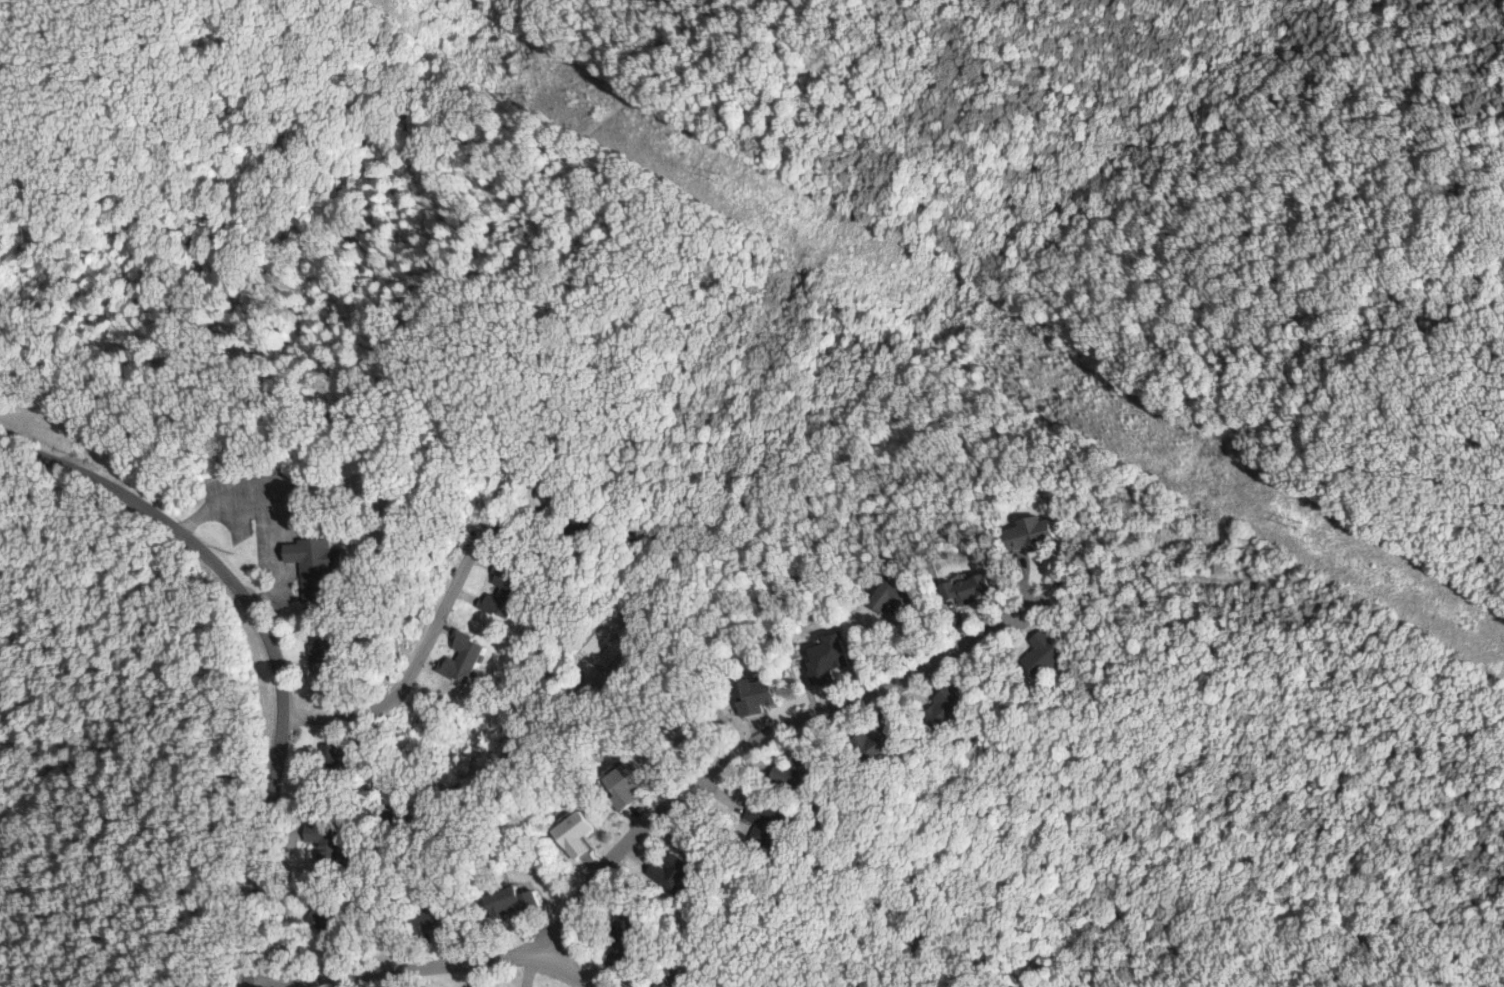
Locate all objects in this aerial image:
power tower: (719, 175)
road: (276, 523)
power tower: (1302, 524)
building: (1032, 534)
building: (318, 565)
building: (976, 589)
building: (507, 592)
building: (895, 595)
road: (271, 643)
road: (412, 647)
building: (326, 650)
building: (469, 656)
building: (1044, 656)
building: (833, 658)
building: (763, 696)
building: (951, 707)
road: (765, 725)
building: (885, 742)
building: (357, 755)
building: (335, 757)
building: (804, 768)
building: (765, 820)
building: (580, 833)
building: (326, 840)
building: (682, 871)
building: (522, 900)
building: (334, 919)
building: (630, 936)
road: (405, 963)
road: (580, 968)
building: (676, 983)
building: (484, 986)

